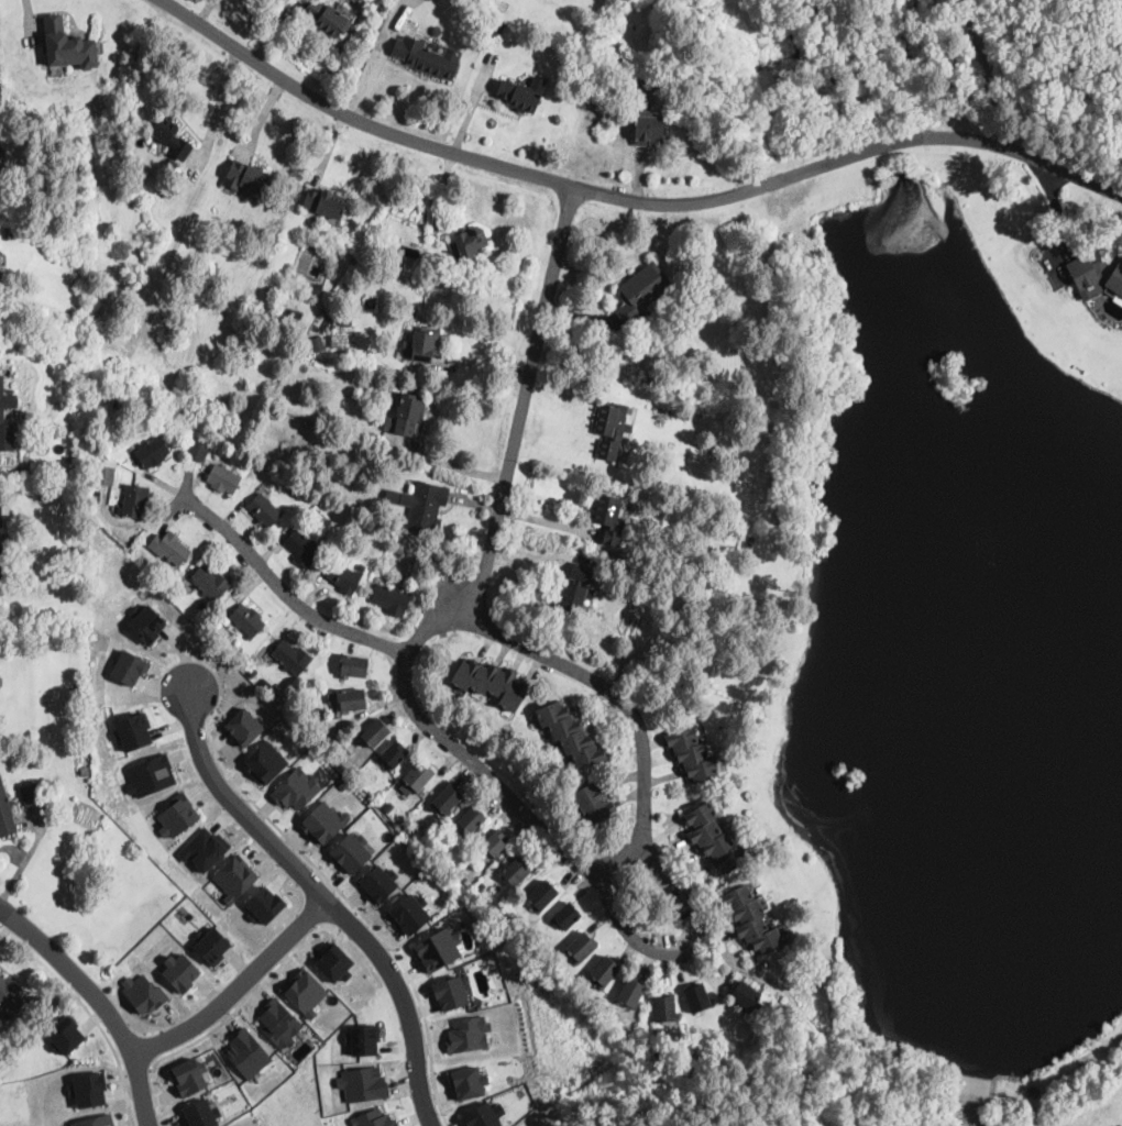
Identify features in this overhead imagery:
building: (295, 0)
road: (205, 12)
building: (327, 18)
building: (497, 26)
building: (437, 30)
building: (68, 46)
park: (975, 55)
road: (376, 57)
building: (428, 58)
building: (519, 97)
building: (9, 119)
building: (649, 129)
building: (170, 136)
building: (2, 151)
building: (246, 177)
road: (628, 201)
building: (324, 203)
building: (469, 242)
building: (387, 245)
building: (1094, 274)
building: (316, 289)
building: (641, 291)
building: (294, 314)
building: (315, 338)
building: (422, 345)
building: (373, 380)
building: (7, 400)
road: (526, 400)
building: (410, 413)
building: (612, 429)
building: (7, 438)
building: (199, 451)
building: (153, 453)
road: (565, 463)
road: (452, 464)
building: (105, 475)
building: (223, 479)
building: (135, 499)
building: (422, 506)
building: (3, 510)
building: (265, 510)
building: (608, 518)
building: (173, 549)
building: (302, 549)
building: (4, 559)
building: (362, 567)
building: (344, 577)
building: (211, 583)
building: (577, 589)
road: (285, 594)
building: (392, 599)
building: (204, 607)
building: (248, 620)
building: (147, 623)
building: (291, 658)
building: (352, 666)
building: (129, 667)
building: (251, 673)
building: (492, 683)
building: (348, 698)
road: (628, 706)
building: (244, 726)
building: (133, 731)
building: (374, 733)
building: (569, 733)
road: (460, 749)
building: (395, 754)
building: (692, 755)
building: (265, 761)
building: (148, 775)
building: (419, 777)
building: (296, 788)
building: (30, 795)
building: (448, 799)
building: (592, 803)
building: (389, 806)
building: (5, 814)
building: (177, 816)
building: (323, 821)
building: (473, 821)
building: (411, 835)
building: (714, 840)
building: (495, 843)
building: (202, 849)
building: (350, 853)
building: (516, 872)
building: (234, 879)
building: (378, 883)
building: (481, 887)
building: (542, 895)
road: (321, 901)
building: (265, 903)
building: (408, 914)
building: (566, 916)
building: (750, 919)
building: (212, 945)
building: (582, 947)
building: (436, 949)
road: (689, 952)
building: (333, 962)
building: (180, 971)
building: (605, 972)
road: (237, 990)
building: (143, 992)
building: (305, 992)
building: (450, 993)
building: (631, 993)
building: (11, 995)
building: (749, 996)
building: (697, 998)
road: (248, 1001)
road: (97, 1002)
building: (665, 1008)
building: (278, 1022)
building: (468, 1034)
building: (66, 1035)
building: (364, 1039)
building: (246, 1053)
road: (116, 1056)
road: (137, 1073)
building: (189, 1075)
building: (469, 1082)
building: (363, 1083)
building: (90, 1089)
building: (1034, 1092)
building: (200, 1113)
building: (482, 1115)
building: (373, 1118)
building: (95, 1121)

